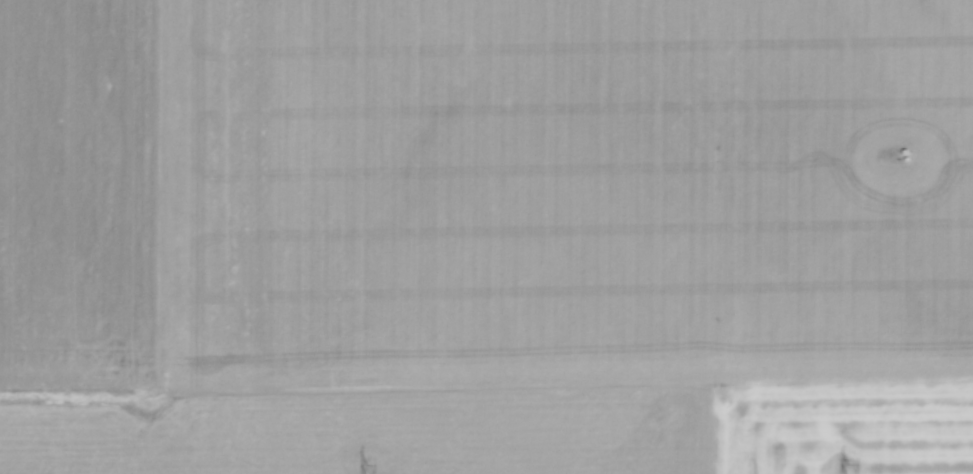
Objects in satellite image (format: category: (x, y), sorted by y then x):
crop: (486, 236)
power tower: (845, 467)
power tower: (366, 468)

